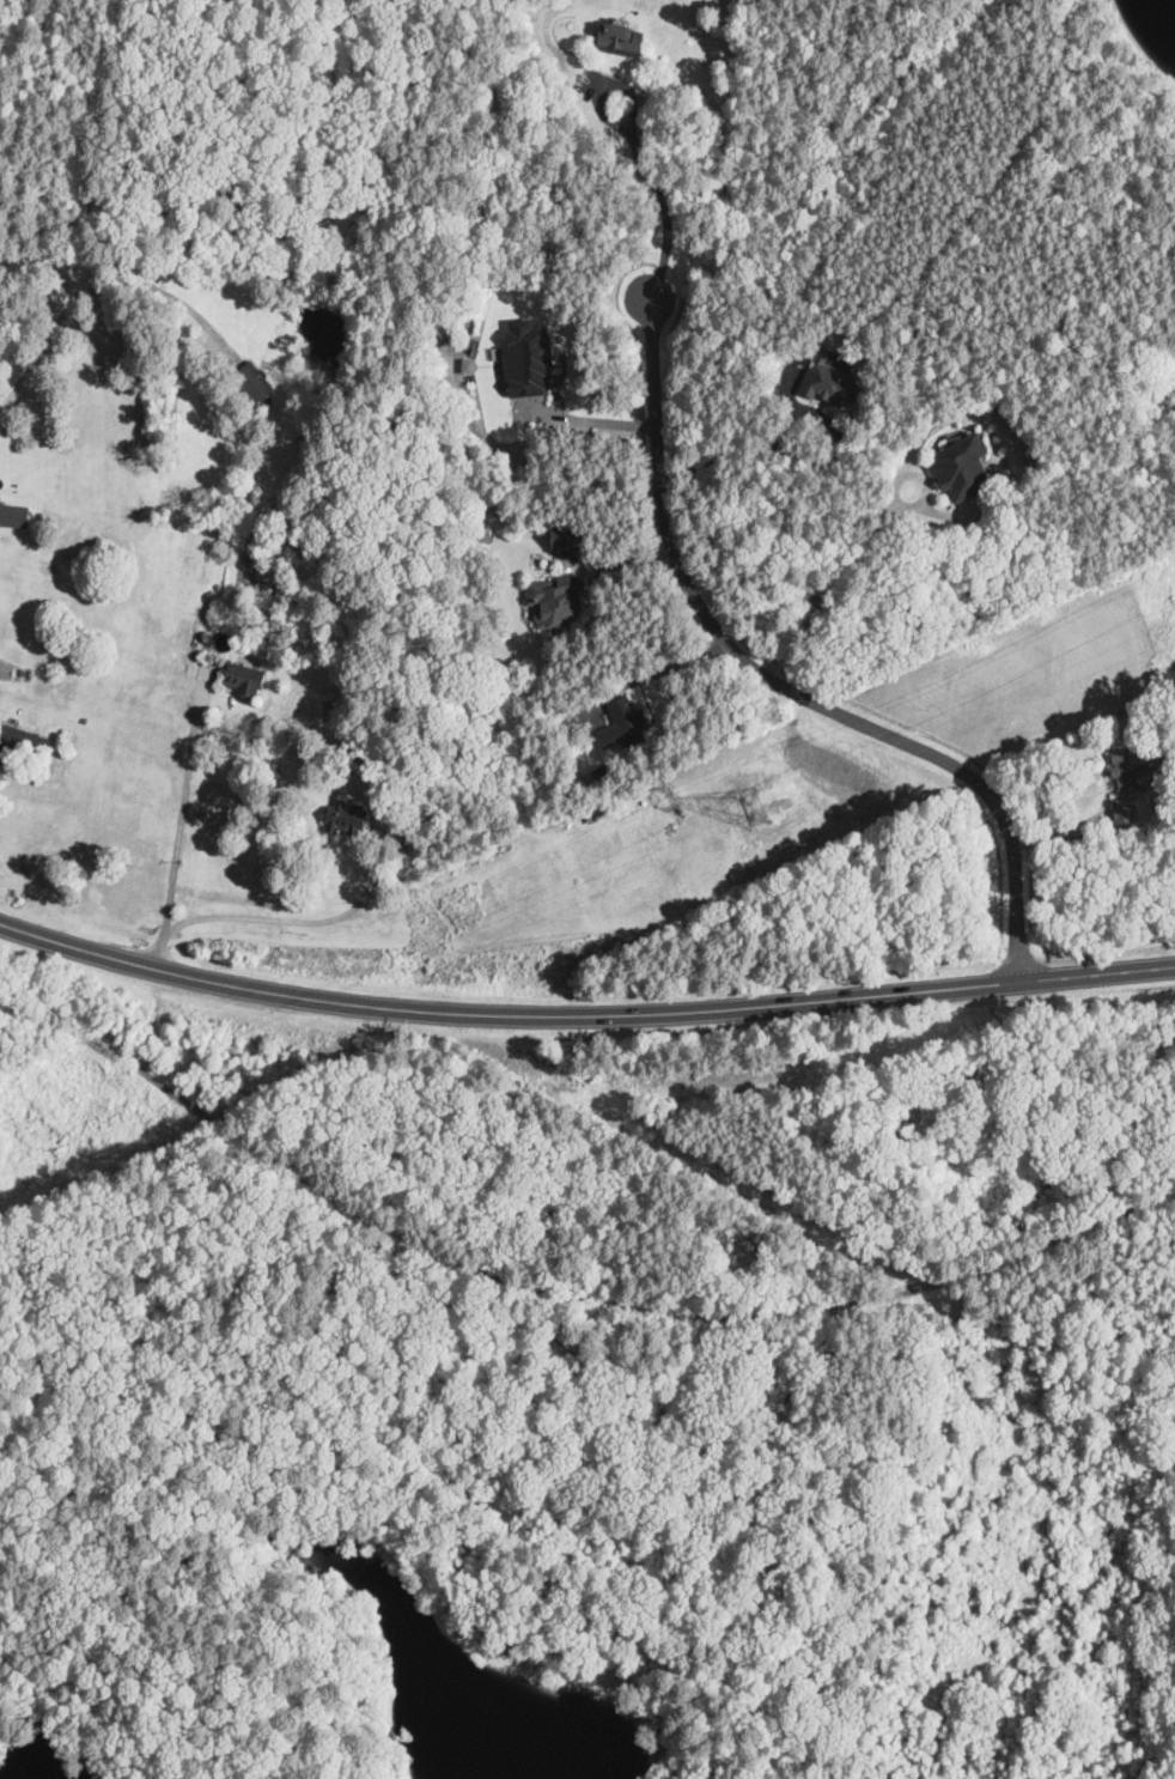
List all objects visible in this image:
building: (626, 38)
road: (662, 196)
road: (1069, 202)
road: (166, 292)
road: (44, 346)
building: (531, 357)
building: (473, 365)
building: (839, 376)
building: (256, 382)
road: (595, 420)
building: (304, 441)
road: (745, 453)
building: (968, 466)
road: (908, 474)
road: (931, 478)
building: (14, 514)
building: (571, 536)
road: (862, 554)
road: (626, 565)
building: (260, 588)
building: (560, 599)
road: (675, 667)
building: (8, 670)
road: (220, 675)
building: (248, 679)
road: (781, 682)
road: (223, 688)
road: (647, 702)
building: (626, 723)
building: (24, 741)
building: (1131, 769)
road: (1108, 789)
building: (1128, 813)
building: (348, 818)
power tower: (766, 818)
road: (181, 821)
road: (377, 824)
road: (1066, 832)
road: (299, 919)
road: (1061, 976)
road: (470, 1010)
road: (562, 1295)

